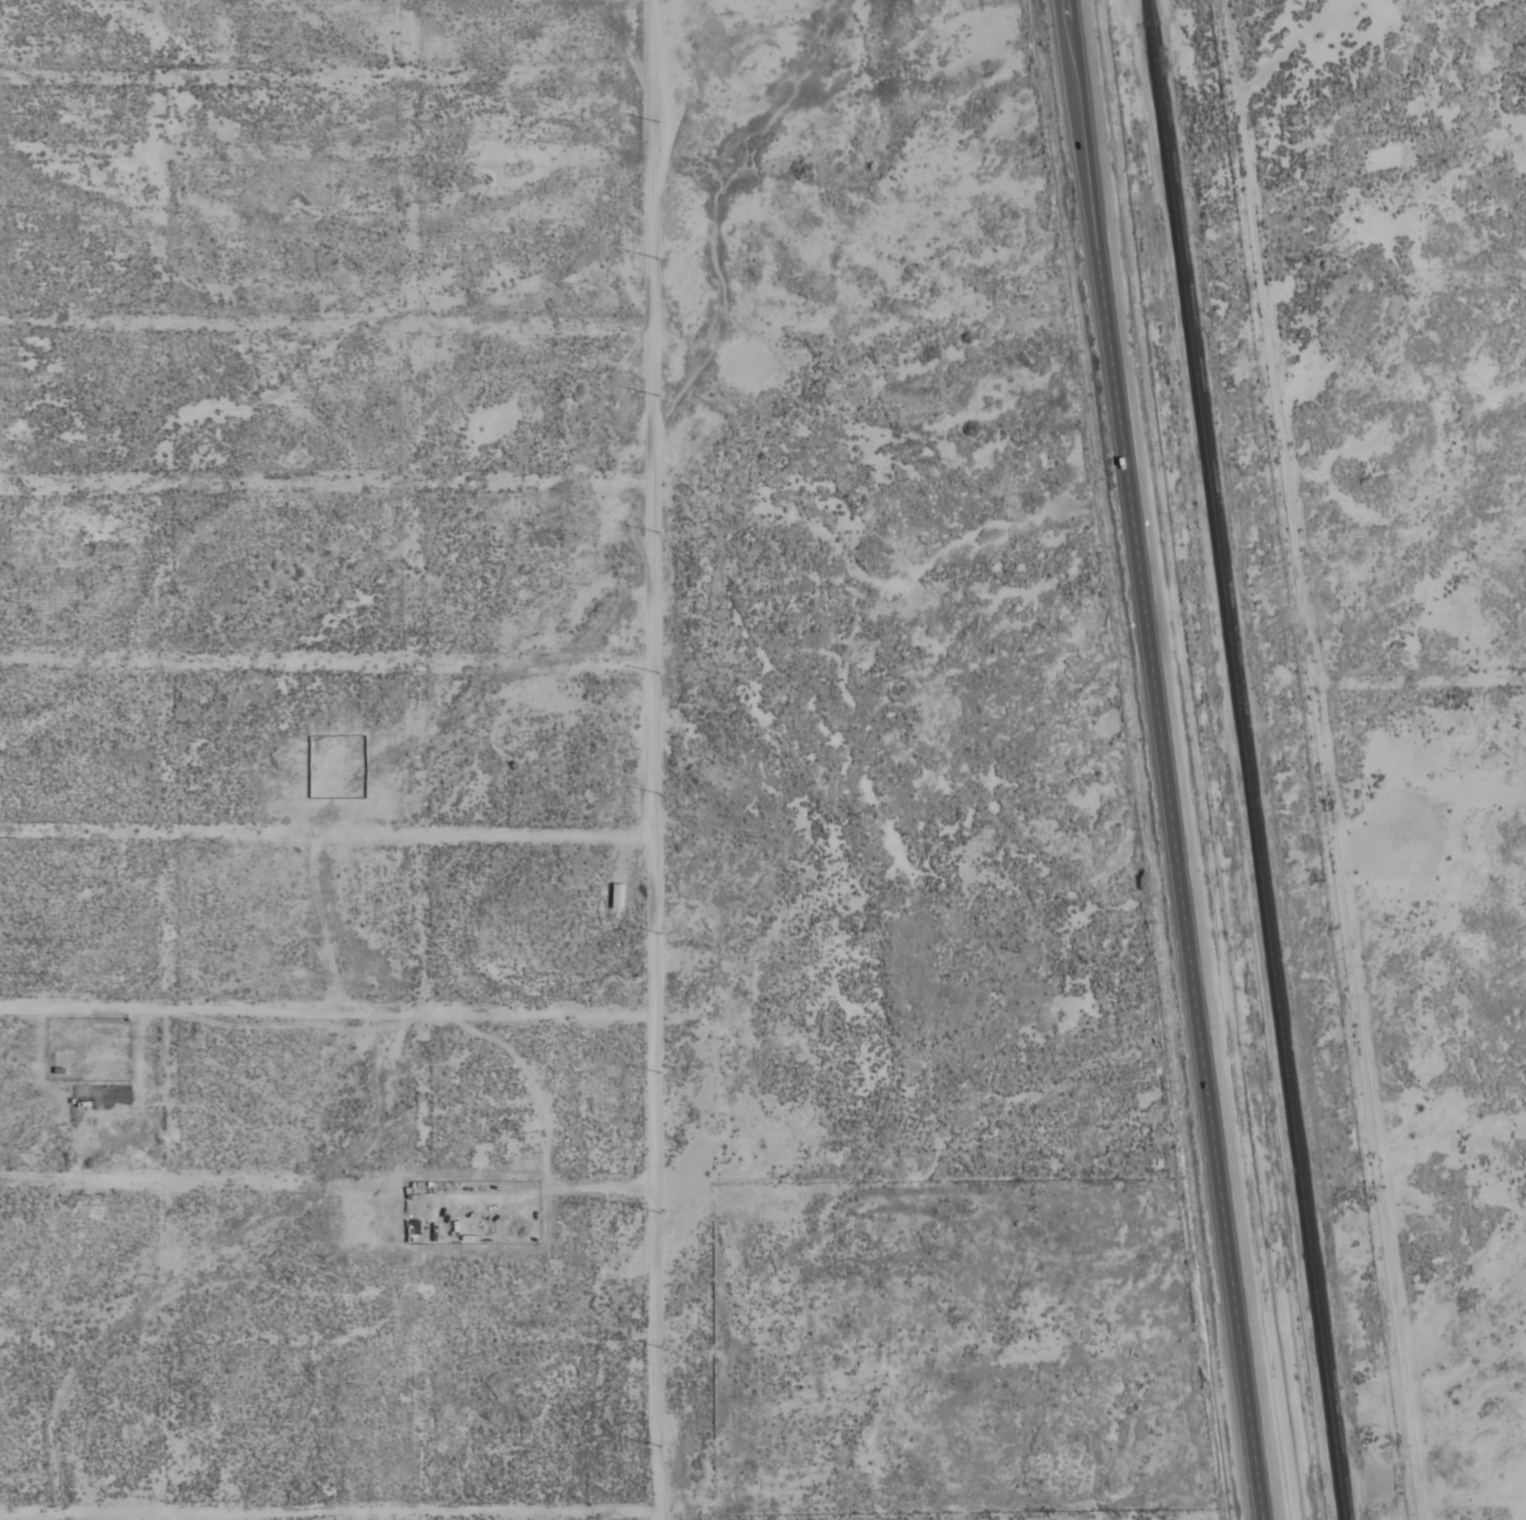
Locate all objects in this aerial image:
road: (1321, 759)
road: (648, 760)
road: (1165, 760)
railway: (1245, 760)
road: (325, 1513)

